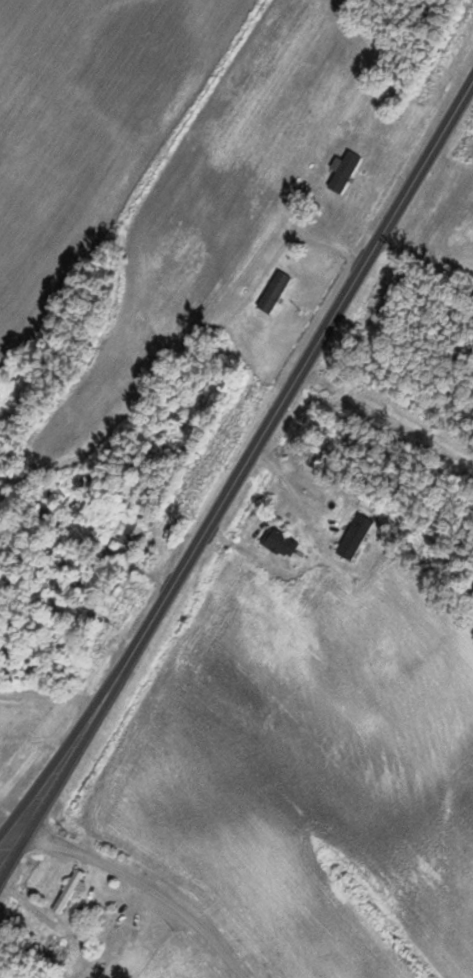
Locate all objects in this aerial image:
building: (346, 172)
building: (275, 292)
road: (288, 393)
building: (133, 534)
building: (354, 541)
building: (280, 543)
road: (51, 769)
road: (51, 787)
building: (68, 890)
building: (104, 891)
building: (52, 950)

